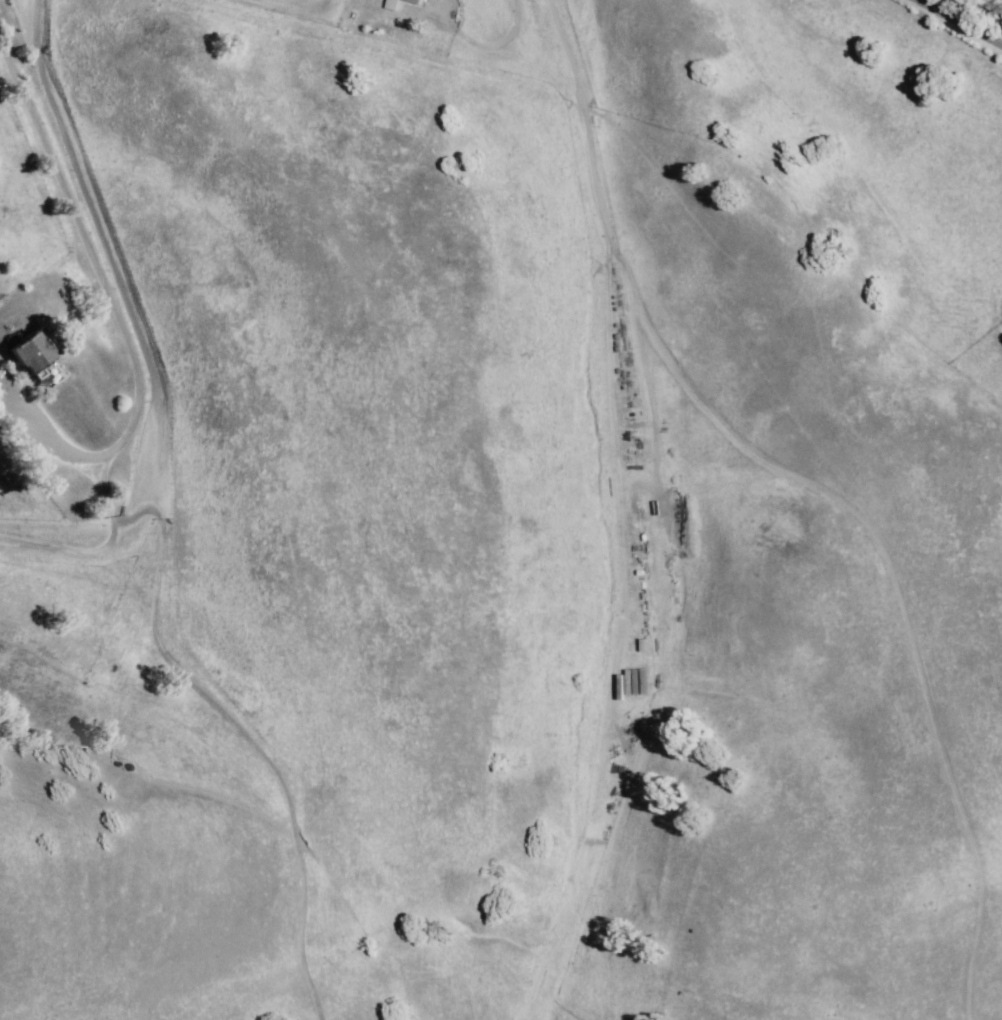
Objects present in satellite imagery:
building: (403, 2)
road: (954, 26)
road: (920, 193)
road: (131, 342)
building: (27, 354)
road: (964, 644)

